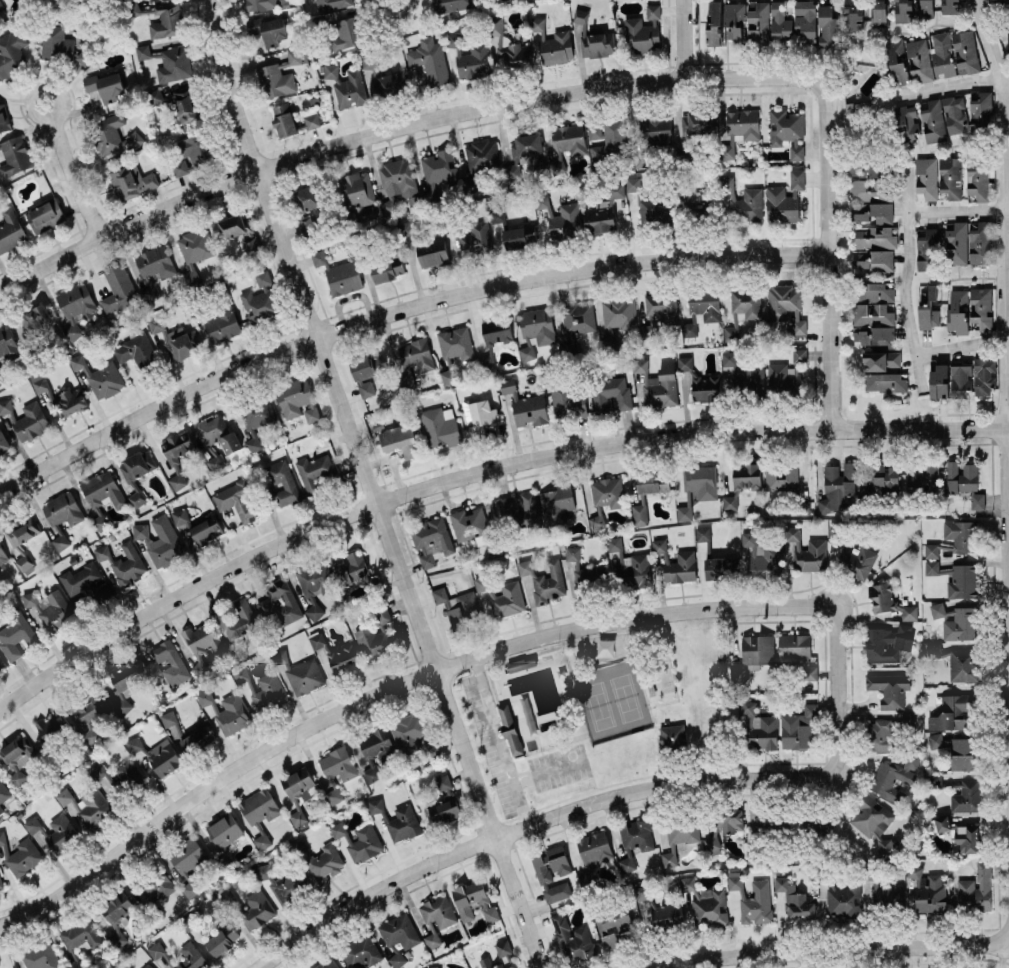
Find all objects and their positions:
building: (1003, 1)
building: (260, 4)
building: (332, 4)
road: (391, 5)
building: (451, 5)
building: (950, 6)
building: (926, 8)
road: (981, 9)
building: (653, 10)
building: (902, 10)
building: (878, 13)
building: (582, 15)
building: (852, 16)
building: (167, 20)
building: (734, 20)
building: (806, 20)
building: (780, 22)
building: (759, 23)
building: (714, 24)
building: (828, 26)
building: (268, 30)
building: (347, 32)
building: (1004, 34)
building: (641, 35)
road: (686, 39)
building: (594, 42)
building: (553, 44)
building: (62, 46)
building: (509, 47)
building: (12, 51)
building: (955, 53)
building: (294, 56)
building: (470, 59)
building: (429, 60)
building: (909, 61)
building: (168, 62)
building: (330, 71)
building: (380, 79)
building: (276, 80)
building: (105, 86)
road: (943, 88)
building: (350, 89)
building: (183, 102)
building: (856, 108)
building: (981, 112)
building: (954, 114)
road: (39, 118)
building: (3, 119)
building: (311, 119)
building: (284, 120)
building: (933, 120)
building: (695, 123)
road: (396, 128)
building: (655, 129)
building: (787, 130)
building: (112, 135)
building: (569, 138)
building: (608, 138)
building: (526, 147)
building: (192, 154)
building: (482, 154)
building: (15, 155)
building: (868, 168)
building: (438, 171)
road: (76, 177)
building: (797, 178)
building: (927, 178)
building: (950, 178)
building: (978, 179)
building: (131, 181)
building: (397, 184)
building: (616, 189)
building: (361, 193)
building: (308, 197)
building: (540, 200)
building: (703, 200)
building: (740, 200)
building: (872, 200)
building: (645, 202)
building: (781, 204)
road: (957, 209)
building: (497, 215)
building: (45, 216)
building: (600, 217)
building: (566, 220)
road: (1006, 221)
building: (307, 224)
building: (405, 229)
building: (10, 230)
building: (238, 230)
building: (519, 236)
building: (875, 237)
building: (476, 239)
building: (956, 242)
building: (980, 242)
building: (927, 247)
building: (195, 251)
building: (433, 252)
road: (828, 255)
building: (873, 260)
building: (155, 262)
building: (388, 269)
building: (339, 274)
road: (905, 274)
building: (119, 289)
building: (261, 299)
building: (705, 303)
building: (746, 303)
building: (873, 304)
building: (786, 305)
building: (77, 306)
building: (662, 306)
building: (929, 308)
building: (969, 309)
road: (397, 313)
building: (618, 314)
building: (578, 316)
building: (36, 318)
building: (157, 324)
building: (222, 324)
building: (537, 326)
building: (689, 329)
building: (732, 330)
building: (497, 332)
building: (875, 335)
building: (180, 343)
building: (456, 343)
building: (8, 344)
road: (960, 344)
building: (137, 350)
building: (527, 352)
building: (414, 360)
building: (881, 360)
building: (685, 362)
building: (367, 372)
building: (740, 372)
building: (787, 372)
building: (984, 375)
building: (99, 376)
building: (447, 377)
building: (960, 380)
building: (939, 381)
building: (39, 382)
building: (886, 382)
building: (657, 383)
building: (706, 388)
building: (611, 393)
building: (297, 399)
building: (71, 400)
building: (567, 400)
building: (525, 405)
building: (5, 406)
building: (479, 416)
building: (31, 421)
building: (257, 422)
building: (441, 426)
building: (212, 428)
building: (400, 440)
building: (3, 441)
building: (231, 442)
building: (177, 455)
building: (216, 462)
building: (138, 464)
building: (315, 470)
road: (476, 474)
building: (781, 476)
building: (961, 476)
building: (881, 478)
building: (924, 479)
building: (743, 481)
building: (283, 482)
building: (652, 482)
road: (371, 486)
building: (837, 486)
building: (697, 487)
building: (607, 492)
building: (102, 495)
building: (137, 498)
road: (1007, 499)
building: (238, 500)
building: (978, 500)
building: (556, 503)
building: (504, 507)
building: (63, 509)
building: (530, 511)
building: (640, 514)
building: (597, 520)
building: (470, 524)
building: (197, 528)
building: (23, 530)
building: (703, 533)
building: (960, 534)
building: (160, 540)
building: (431, 540)
building: (61, 541)
building: (659, 545)
building: (807, 551)
building: (2, 555)
building: (763, 556)
building: (932, 558)
building: (861, 561)
building: (23, 562)
building: (123, 562)
building: (632, 565)
building: (350, 566)
building: (679, 567)
building: (716, 568)
building: (586, 570)
building: (544, 580)
building: (962, 580)
building: (86, 582)
building: (481, 583)
building: (315, 585)
building: (883, 597)
building: (507, 599)
building: (280, 603)
building: (458, 605)
building: (49, 608)
building: (909, 612)
building: (382, 613)
building: (236, 619)
building: (957, 621)
building: (17, 634)
building: (204, 639)
building: (375, 642)
building: (888, 642)
building: (797, 652)
building: (335, 654)
building: (754, 654)
road: (471, 659)
building: (1, 660)
building: (170, 662)
building: (521, 663)
building: (964, 664)
building: (300, 673)
building: (122, 685)
building: (890, 688)
building: (261, 689)
park: (612, 701)
building: (748, 707)
building: (228, 710)
building: (951, 712)
building: (89, 717)
building: (169, 717)
park: (557, 721)
building: (52, 726)
building: (510, 728)
building: (799, 728)
building: (408, 732)
building: (763, 732)
building: (882, 734)
building: (673, 735)
building: (197, 740)
road: (499, 741)
building: (952, 743)
parking lot: (494, 745)
building: (377, 751)
building: (158, 755)
building: (16, 759)
building: (965, 761)
parking lot: (559, 767)
building: (337, 769)
road: (550, 769)
building: (129, 773)
building: (894, 777)
building: (934, 780)
building: (3, 791)
building: (297, 791)
building: (967, 797)
building: (444, 801)
building: (87, 805)
building: (376, 805)
building: (1, 808)
building: (260, 812)
building: (771, 818)
building: (871, 818)
building: (730, 819)
road: (532, 822)
building: (403, 823)
building: (942, 823)
building: (33, 824)
building: (224, 830)
building: (61, 832)
building: (2, 837)
building: (968, 838)
building: (679, 839)
building: (359, 840)
building: (635, 840)
building: (712, 845)
building: (888, 846)
building: (594, 847)
building: (22, 855)
building: (557, 859)
building: (326, 862)
building: (189, 863)
building: (541, 868)
building: (735, 880)
building: (1, 882)
building: (282, 882)
building: (158, 889)
building: (976, 889)
building: (557, 892)
building: (929, 892)
building: (889, 894)
building: (795, 899)
building: (845, 900)
building: (474, 901)
building: (707, 902)
building: (756, 903)
building: (257, 909)
building: (118, 910)
building: (438, 911)
building: (668, 913)
building: (190, 922)
building: (614, 926)
building: (399, 931)
building: (80, 934)
building: (432, 937)
building: (223, 939)
building: (572, 939)
road: (832, 948)
building: (156, 949)
building: (360, 951)
building: (501, 956)
building: (42, 957)
building: (192, 957)
building: (327, 963)
building: (146, 966)
building: (439, 967)

